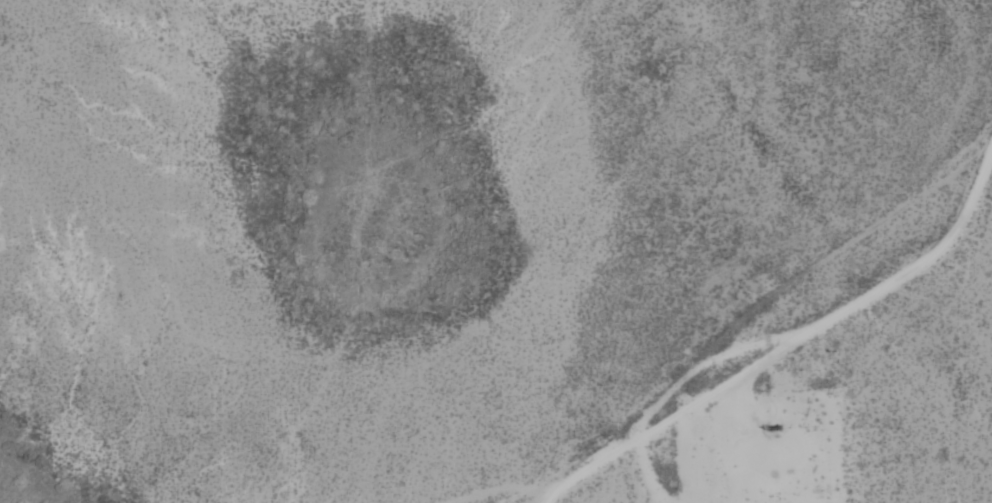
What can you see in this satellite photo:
road: (787, 344)

